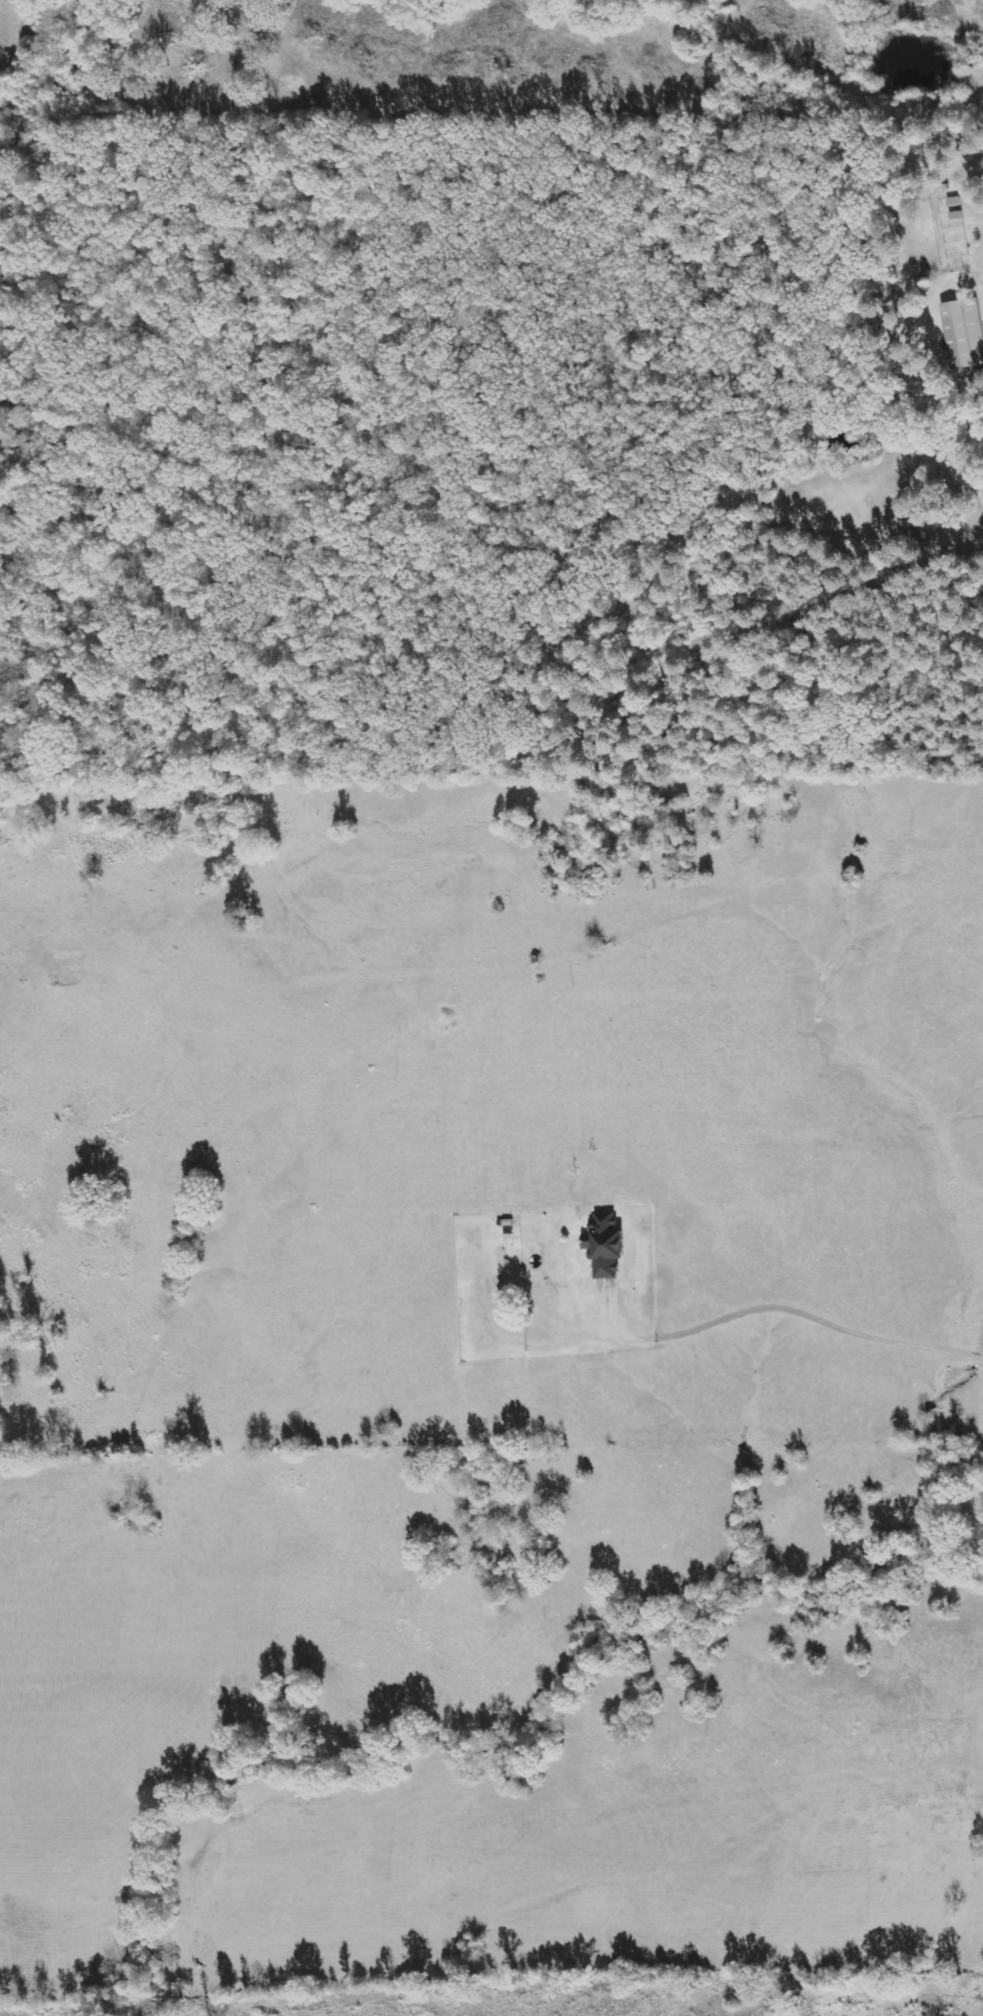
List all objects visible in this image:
building: (962, 333)

